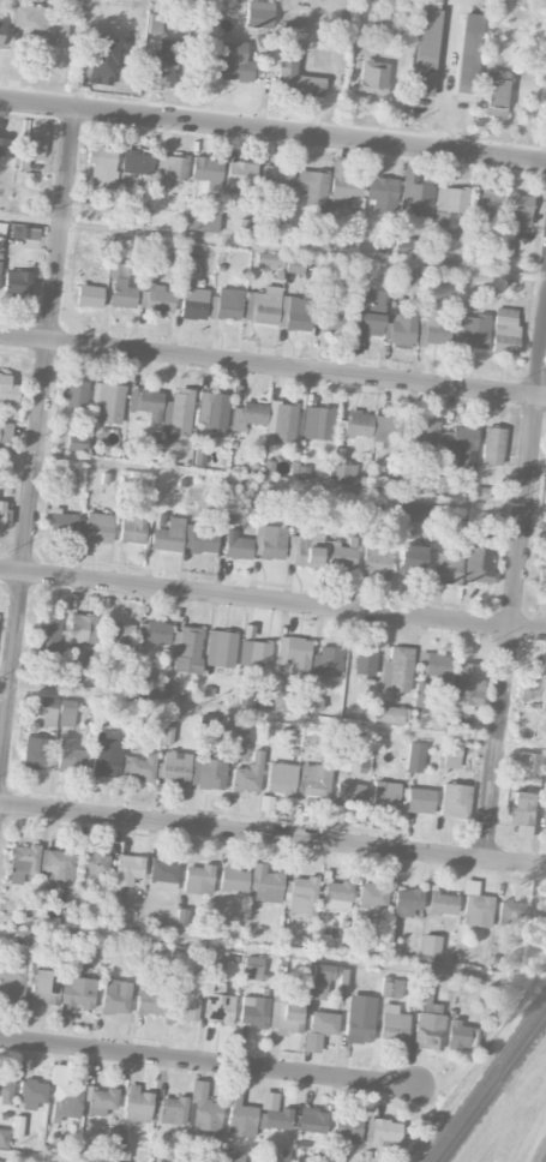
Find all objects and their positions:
building: (258, 14)
building: (37, 26)
building: (0, 34)
building: (425, 47)
building: (468, 56)
building: (101, 59)
building: (233, 62)
building: (162, 67)
building: (294, 74)
road: (444, 74)
building: (372, 78)
building: (496, 92)
road: (272, 131)
building: (6, 146)
building: (29, 151)
building: (137, 162)
building: (103, 167)
building: (172, 167)
building: (206, 169)
building: (239, 175)
building: (276, 178)
building: (343, 182)
building: (313, 188)
building: (413, 192)
building: (382, 193)
building: (487, 204)
building: (450, 206)
building: (517, 209)
building: (202, 220)
building: (25, 234)
building: (408, 246)
building: (270, 259)
building: (295, 264)
building: (17, 283)
building: (122, 293)
building: (156, 293)
building: (89, 295)
building: (193, 303)
building: (228, 304)
building: (263, 305)
building: (298, 313)
building: (365, 318)
building: (331, 319)
building: (437, 322)
building: (400, 328)
building: (472, 330)
building: (505, 331)
road: (272, 365)
building: (7, 390)
building: (74, 394)
building: (107, 403)
building: (146, 403)
building: (212, 409)
building: (178, 412)
building: (248, 414)
building: (281, 423)
building: (317, 423)
building: (358, 424)
building: (386, 429)
building: (5, 432)
building: (425, 432)
road: (38, 435)
building: (76, 442)
building: (460, 445)
building: (492, 445)
building: (344, 472)
building: (545, 497)
building: (412, 511)
building: (4, 513)
building: (62, 522)
building: (132, 527)
building: (98, 528)
building: (168, 535)
building: (200, 539)
building: (272, 543)
building: (236, 546)
building: (342, 556)
building: (310, 557)
building: (412, 557)
building: (479, 557)
building: (377, 561)
building: (444, 567)
building: (541, 570)
road: (516, 600)
road: (272, 601)
building: (82, 629)
building: (154, 631)
building: (48, 634)
building: (119, 635)
building: (220, 648)
building: (186, 649)
building: (294, 653)
building: (254, 654)
building: (326, 660)
building: (364, 660)
building: (433, 664)
building: (396, 670)
building: (466, 687)
building: (420, 694)
building: (281, 701)
building: (56, 712)
building: (390, 714)
building: (239, 747)
building: (36, 753)
building: (70, 755)
building: (451, 755)
building: (106, 756)
building: (414, 756)
building: (530, 761)
building: (352, 762)
building: (138, 767)
building: (208, 772)
building: (247, 774)
building: (280, 778)
building: (313, 780)
building: (349, 792)
building: (385, 795)
building: (419, 799)
building: (455, 799)
building: (524, 814)
building: (545, 823)
road: (272, 834)
building: (22, 861)
building: (56, 863)
building: (94, 863)
building: (162, 875)
building: (198, 879)
building: (233, 879)
building: (122, 881)
building: (265, 885)
building: (337, 894)
building: (373, 894)
building: (302, 896)
building: (407, 902)
building: (443, 903)
building: (475, 906)
building: (512, 912)
building: (540, 915)
building: (430, 945)
building: (216, 959)
building: (252, 968)
building: (342, 976)
building: (11, 982)
building: (44, 986)
building: (391, 988)
building: (73, 992)
building: (115, 996)
building: (149, 1002)
building: (182, 1004)
building: (220, 1008)
building: (254, 1011)
building: (427, 1017)
building: (286, 1018)
building: (359, 1019)
building: (323, 1022)
building: (392, 1024)
building: (457, 1035)
building: (311, 1042)
road: (208, 1062)
railway: (485, 1079)
railway: (492, 1089)
building: (5, 1090)
building: (32, 1094)
building: (102, 1098)
building: (137, 1104)
building: (172, 1110)
building: (274, 1112)
building: (239, 1113)
building: (312, 1120)
building: (17, 1126)
building: (348, 1128)
building: (385, 1131)
building: (4, 1138)
building: (230, 1156)
building: (0, 1161)
building: (265, 1161)

